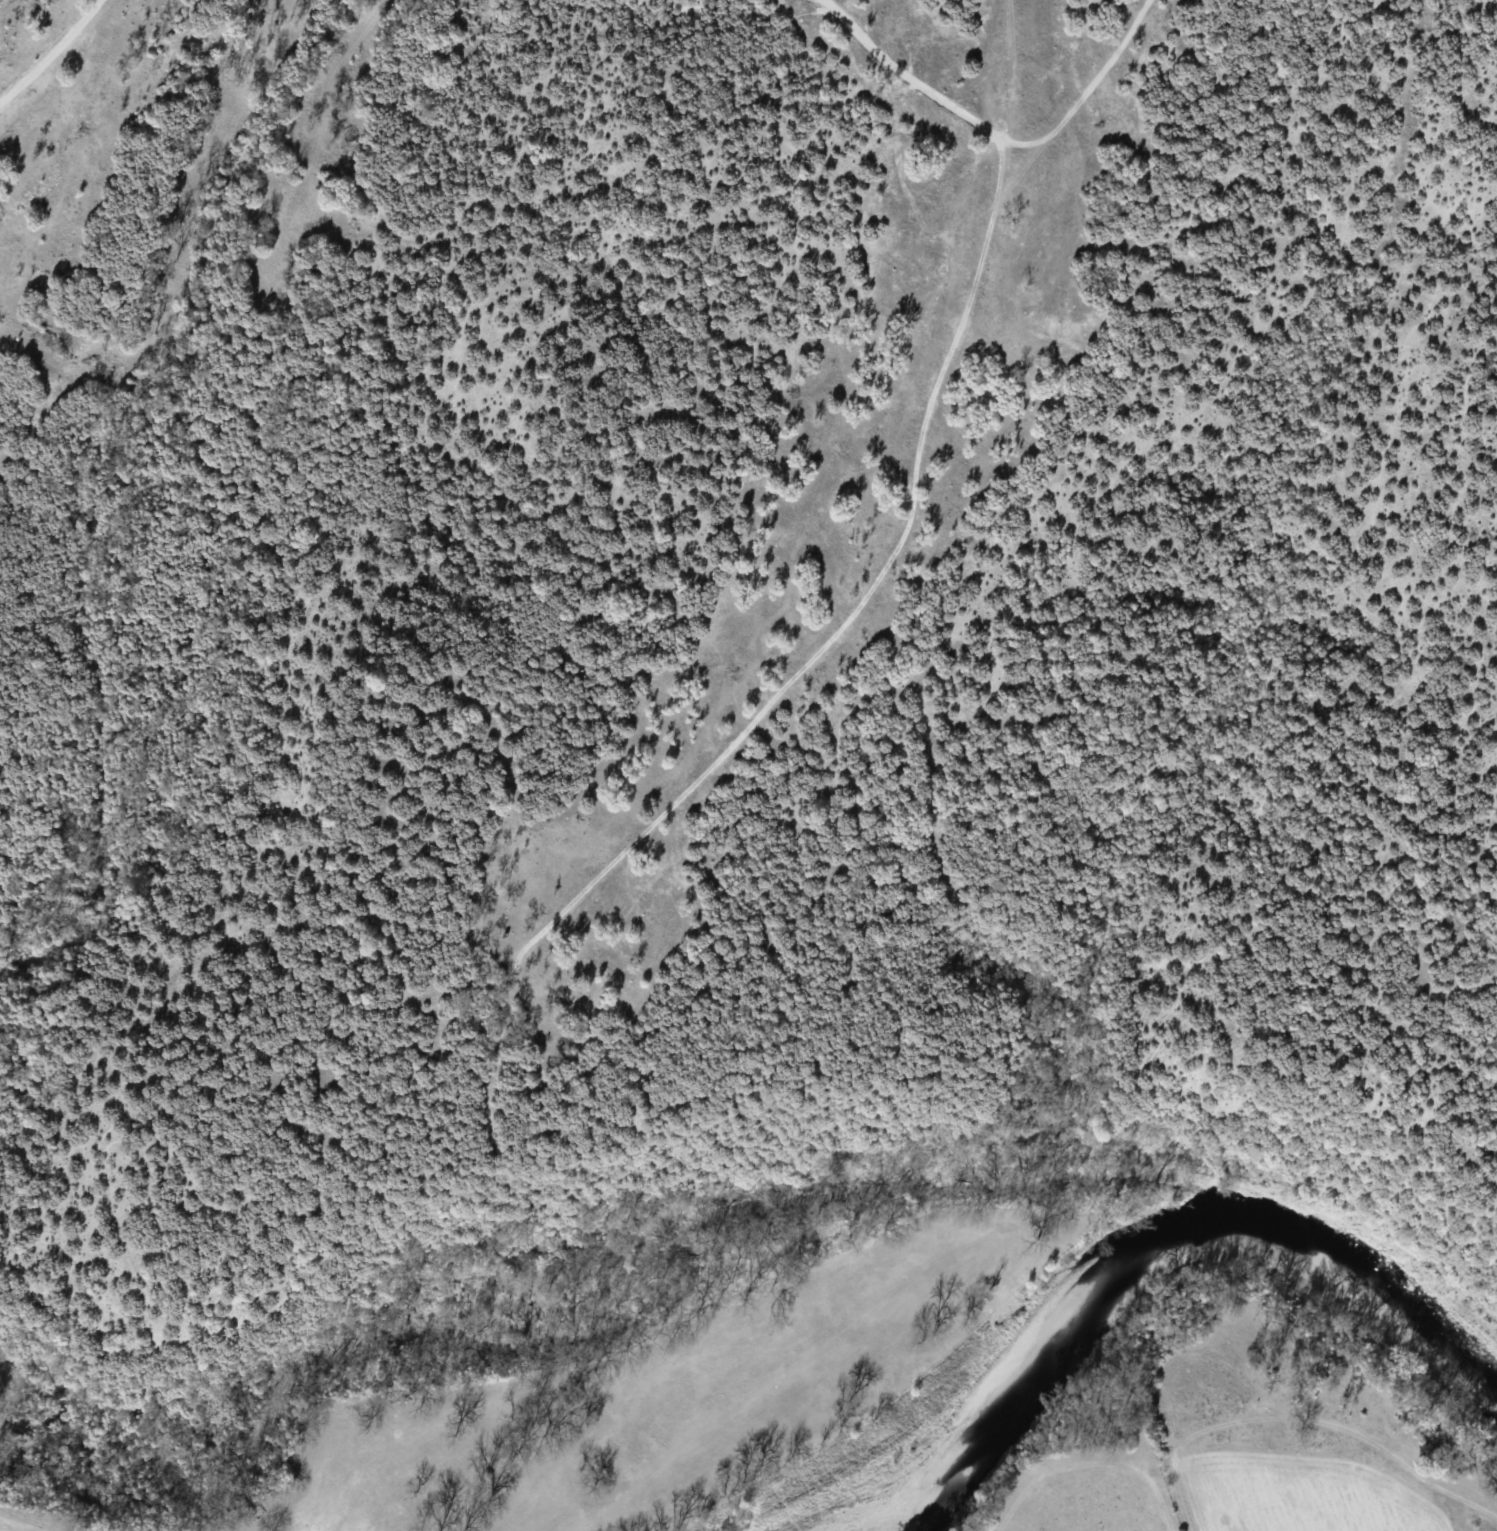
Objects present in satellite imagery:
river: (1173, 1228)

